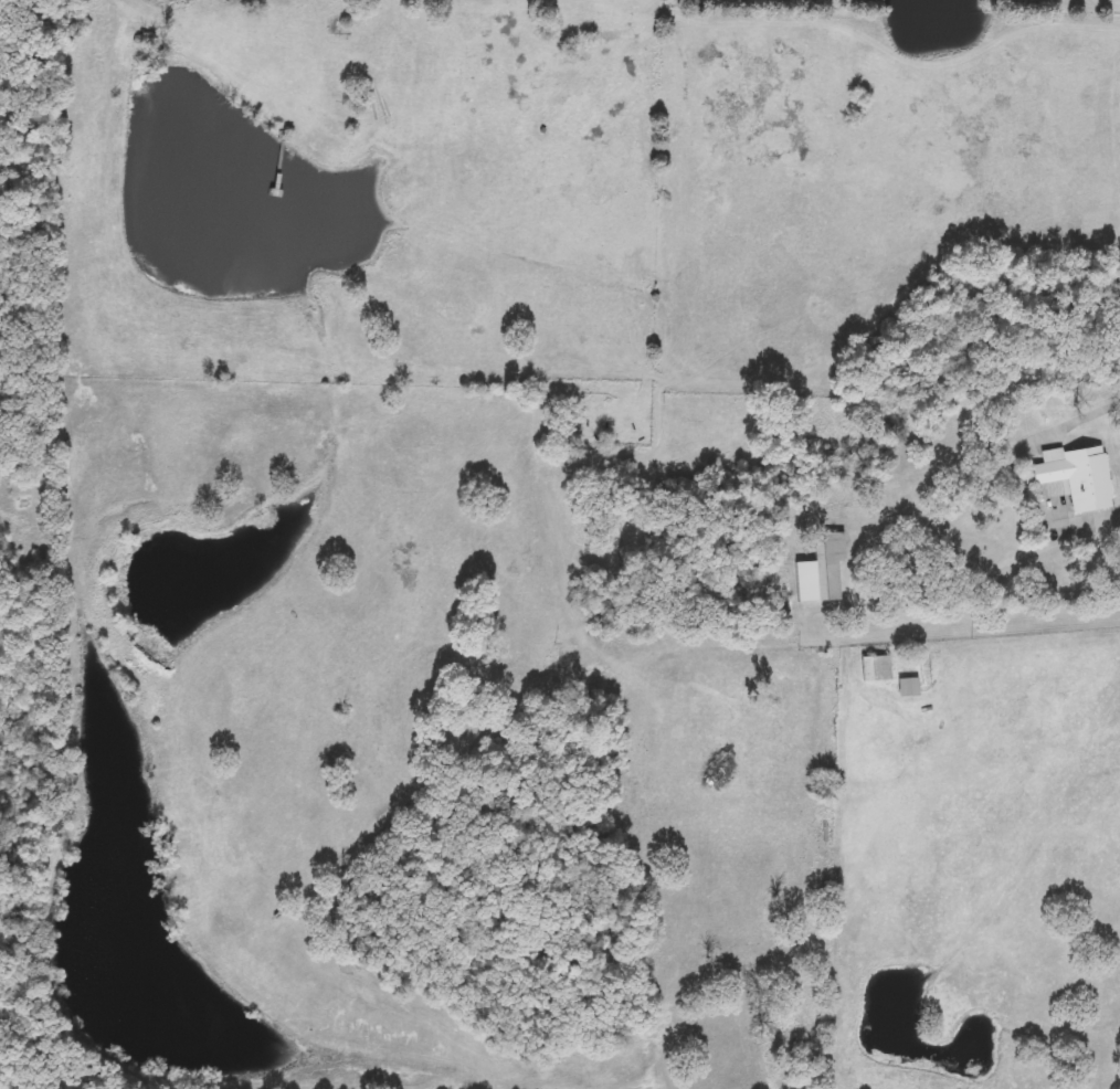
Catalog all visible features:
road: (879, 41)
building: (1075, 479)
building: (821, 571)
road: (985, 582)
building: (876, 669)
building: (908, 687)

